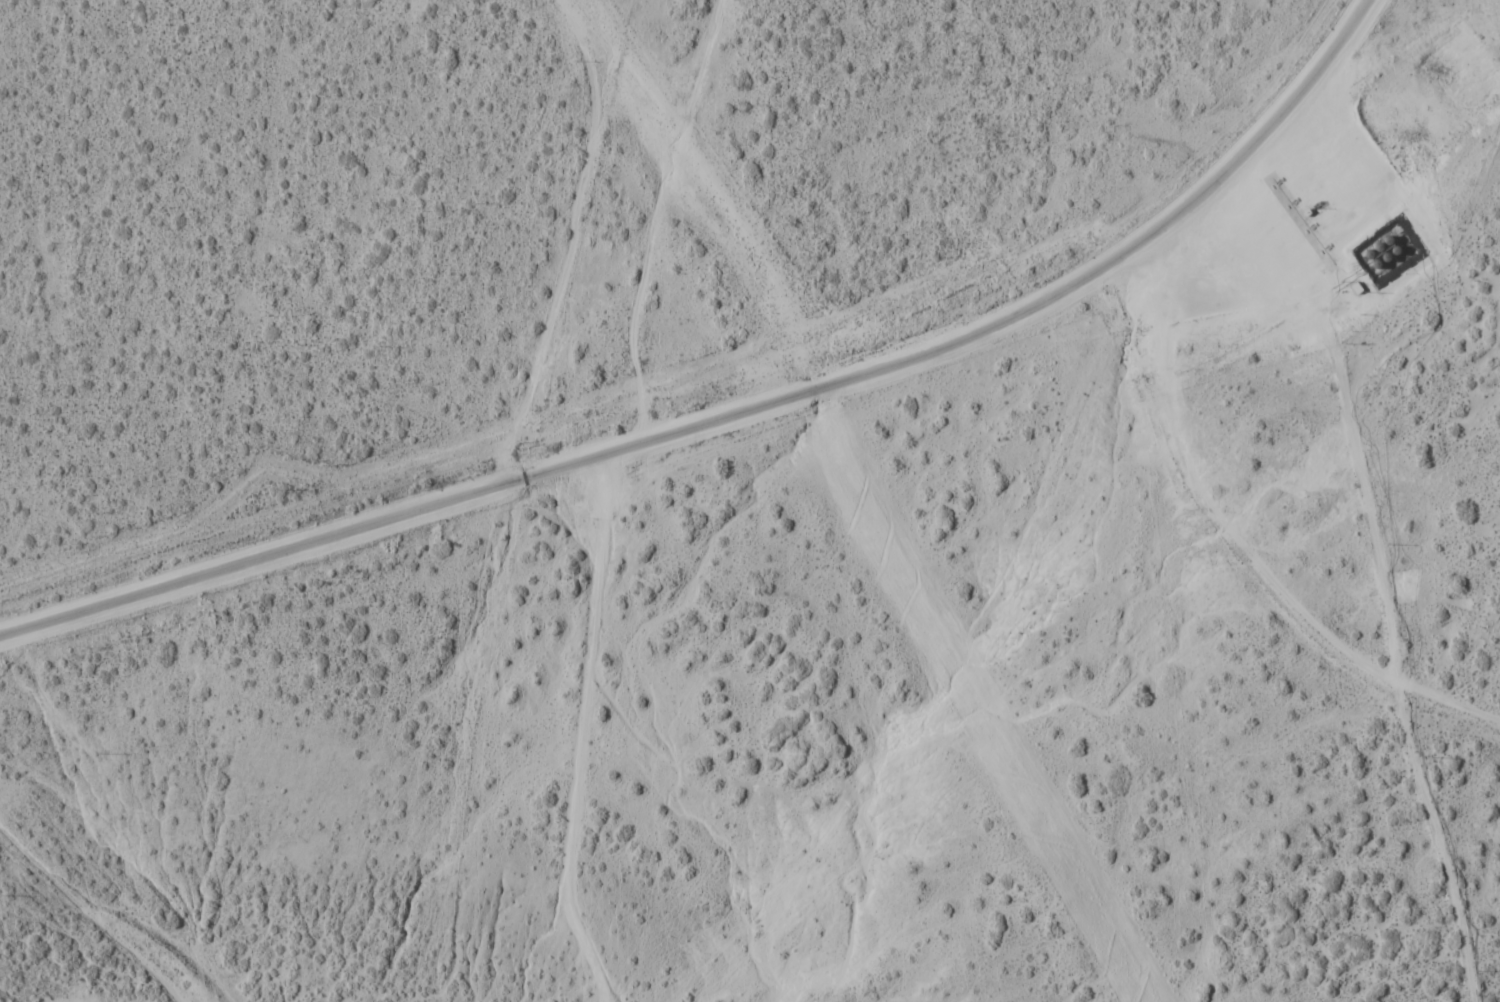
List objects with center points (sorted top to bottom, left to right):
road: (738, 414)
road: (1241, 537)
road: (580, 732)

